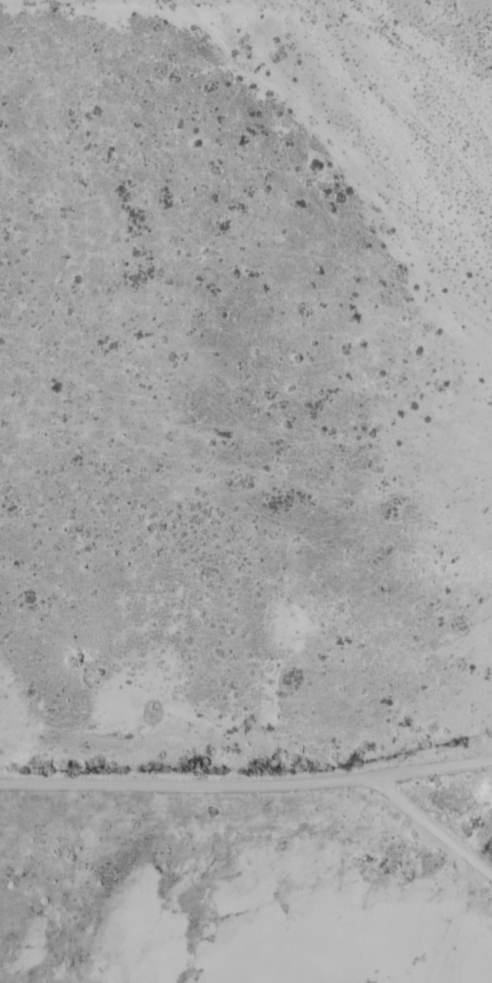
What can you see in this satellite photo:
road: (246, 778)
road: (436, 806)

